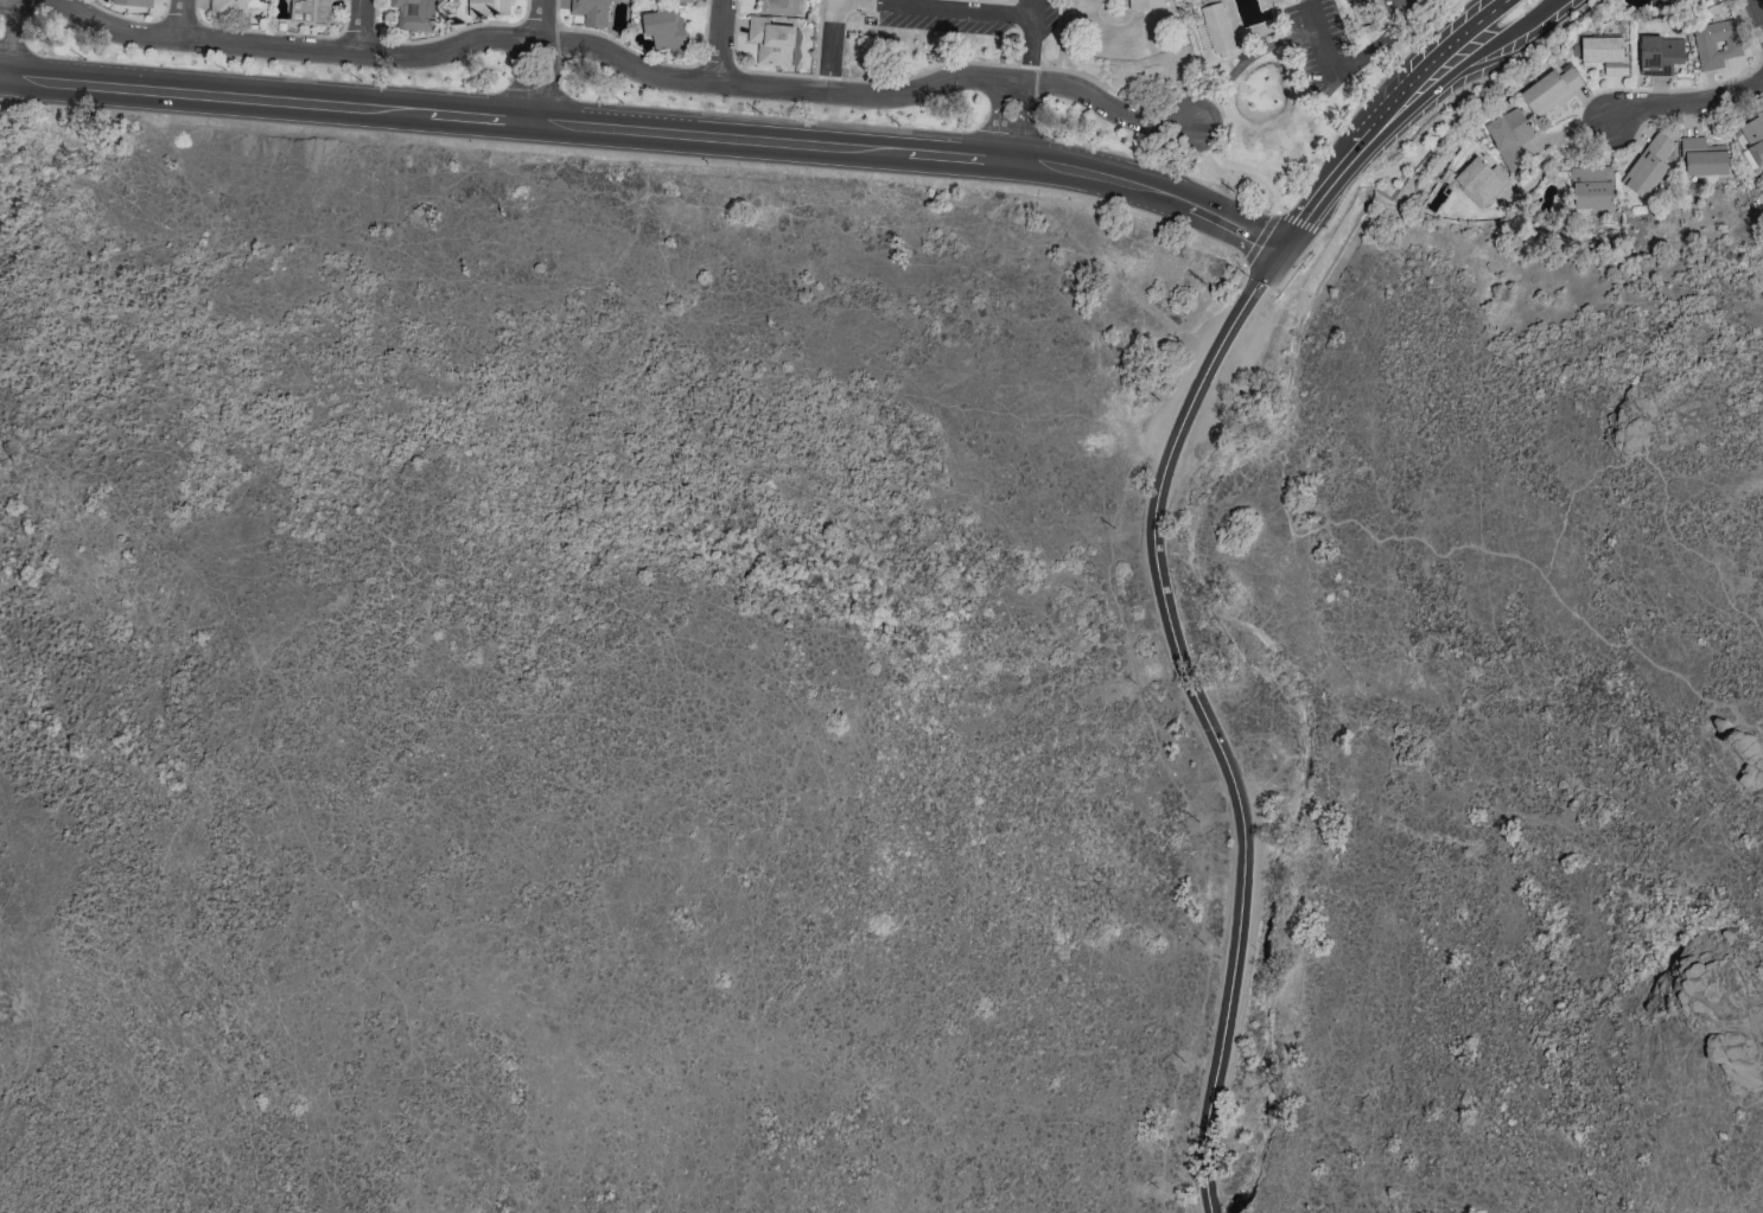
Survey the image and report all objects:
building: (1004, 0)
building: (1662, 1)
building: (132, 2)
road: (0, 4)
building: (1145, 4)
road: (1761, 5)
building: (227, 7)
building: (489, 7)
building: (782, 7)
road: (984, 8)
building: (311, 11)
building: (592, 11)
building: (414, 15)
road: (179, 19)
road: (1535, 19)
road: (358, 26)
building: (1217, 27)
building: (664, 28)
road: (720, 42)
building: (771, 42)
building: (1716, 43)
road: (830, 45)
building: (1604, 53)
road: (611, 55)
building: (1660, 55)
road: (1351, 64)
road: (536, 66)
road: (1420, 75)
building: (1549, 90)
road: (1426, 97)
road: (1686, 107)
road: (1011, 113)
road: (1452, 114)
road: (650, 120)
road: (1199, 136)
building: (1509, 136)
building: (1754, 138)
road: (622, 141)
road: (1558, 153)
building: (1702, 157)
road: (1007, 159)
building: (1648, 166)
road: (1252, 171)
building: (1479, 180)
building: (1591, 187)
road: (1313, 204)
road: (1297, 222)
road: (1260, 237)
road: (1256, 249)
traffic signals: (1280, 249)
road: (1400, 538)
road: (1197, 708)
road: (1737, 1068)
road: (1208, 1202)

